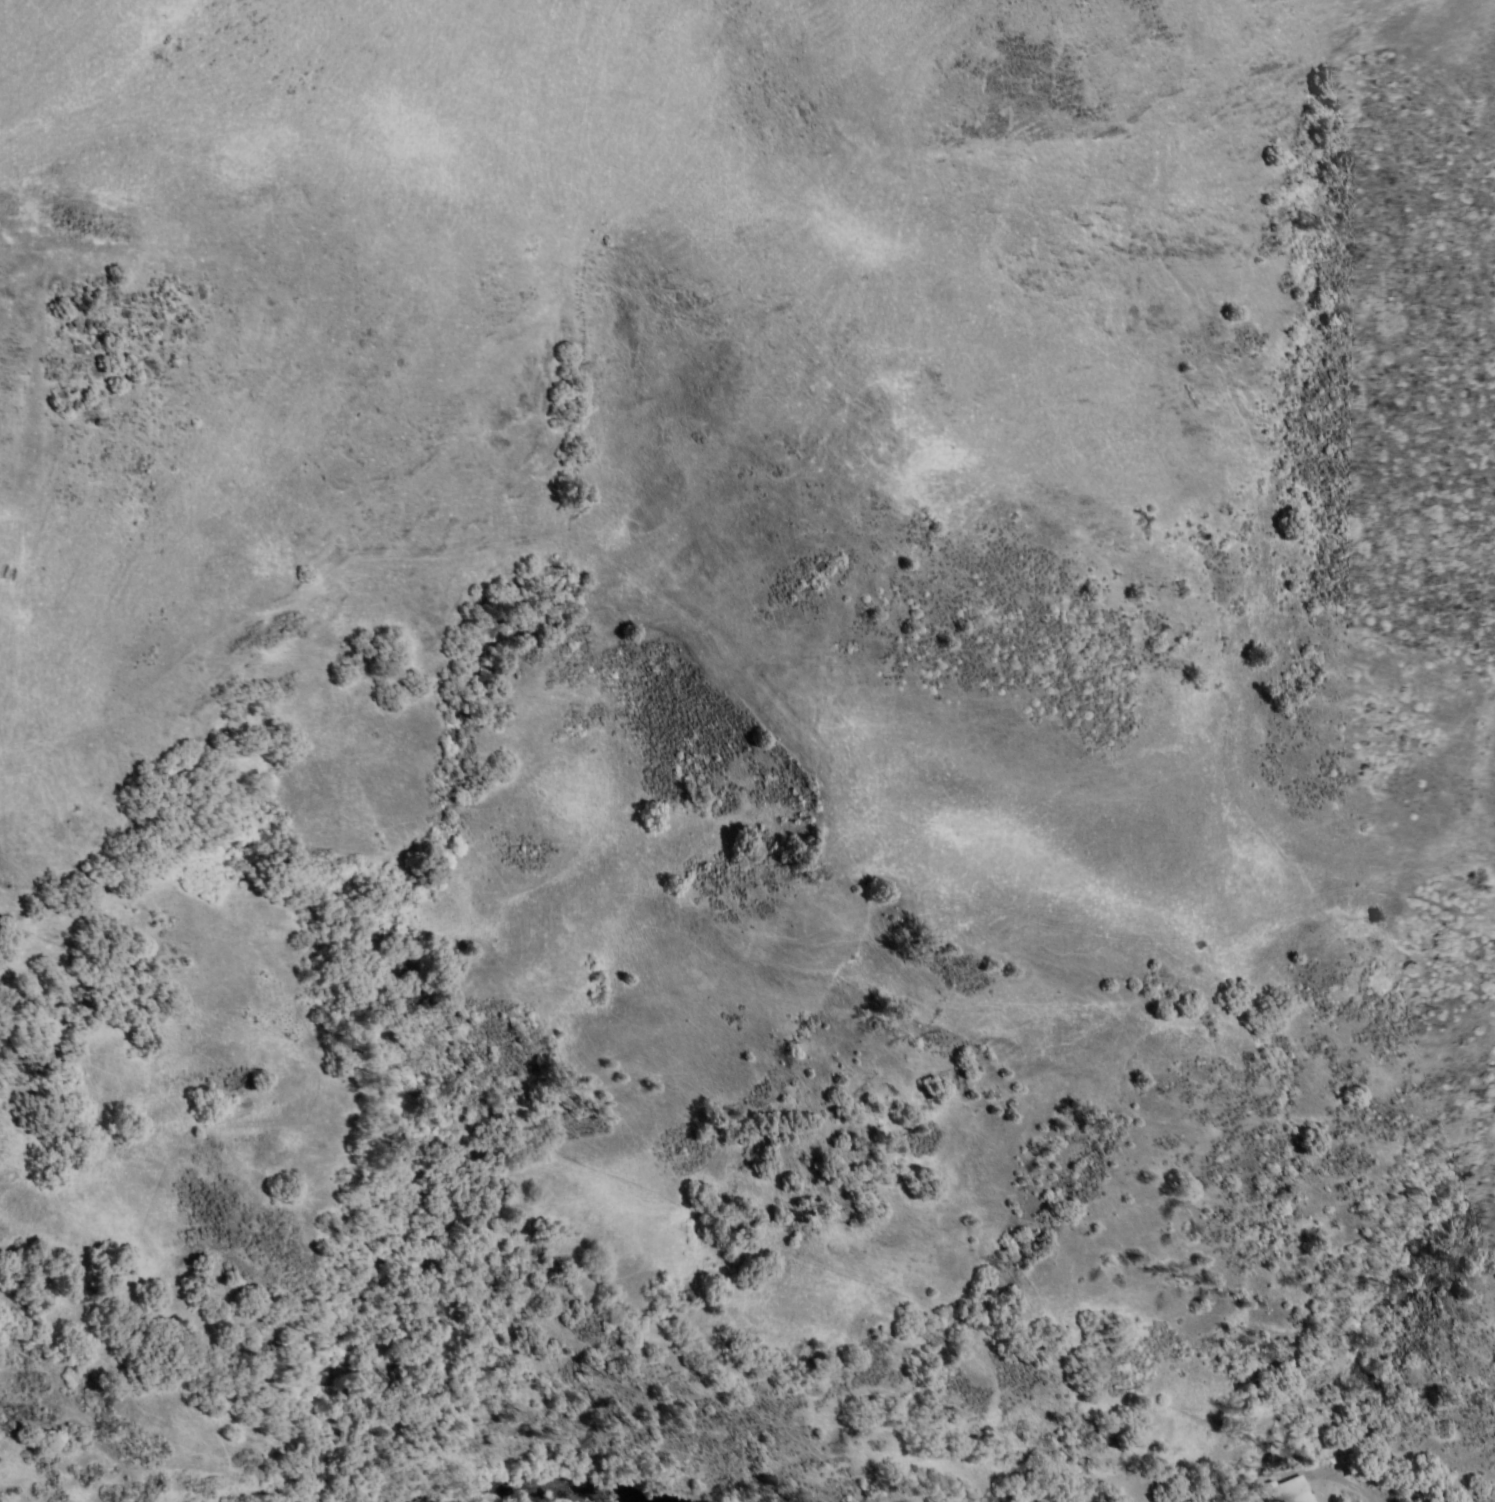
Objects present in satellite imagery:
road: (1351, 1484)
building: (1285, 1490)

